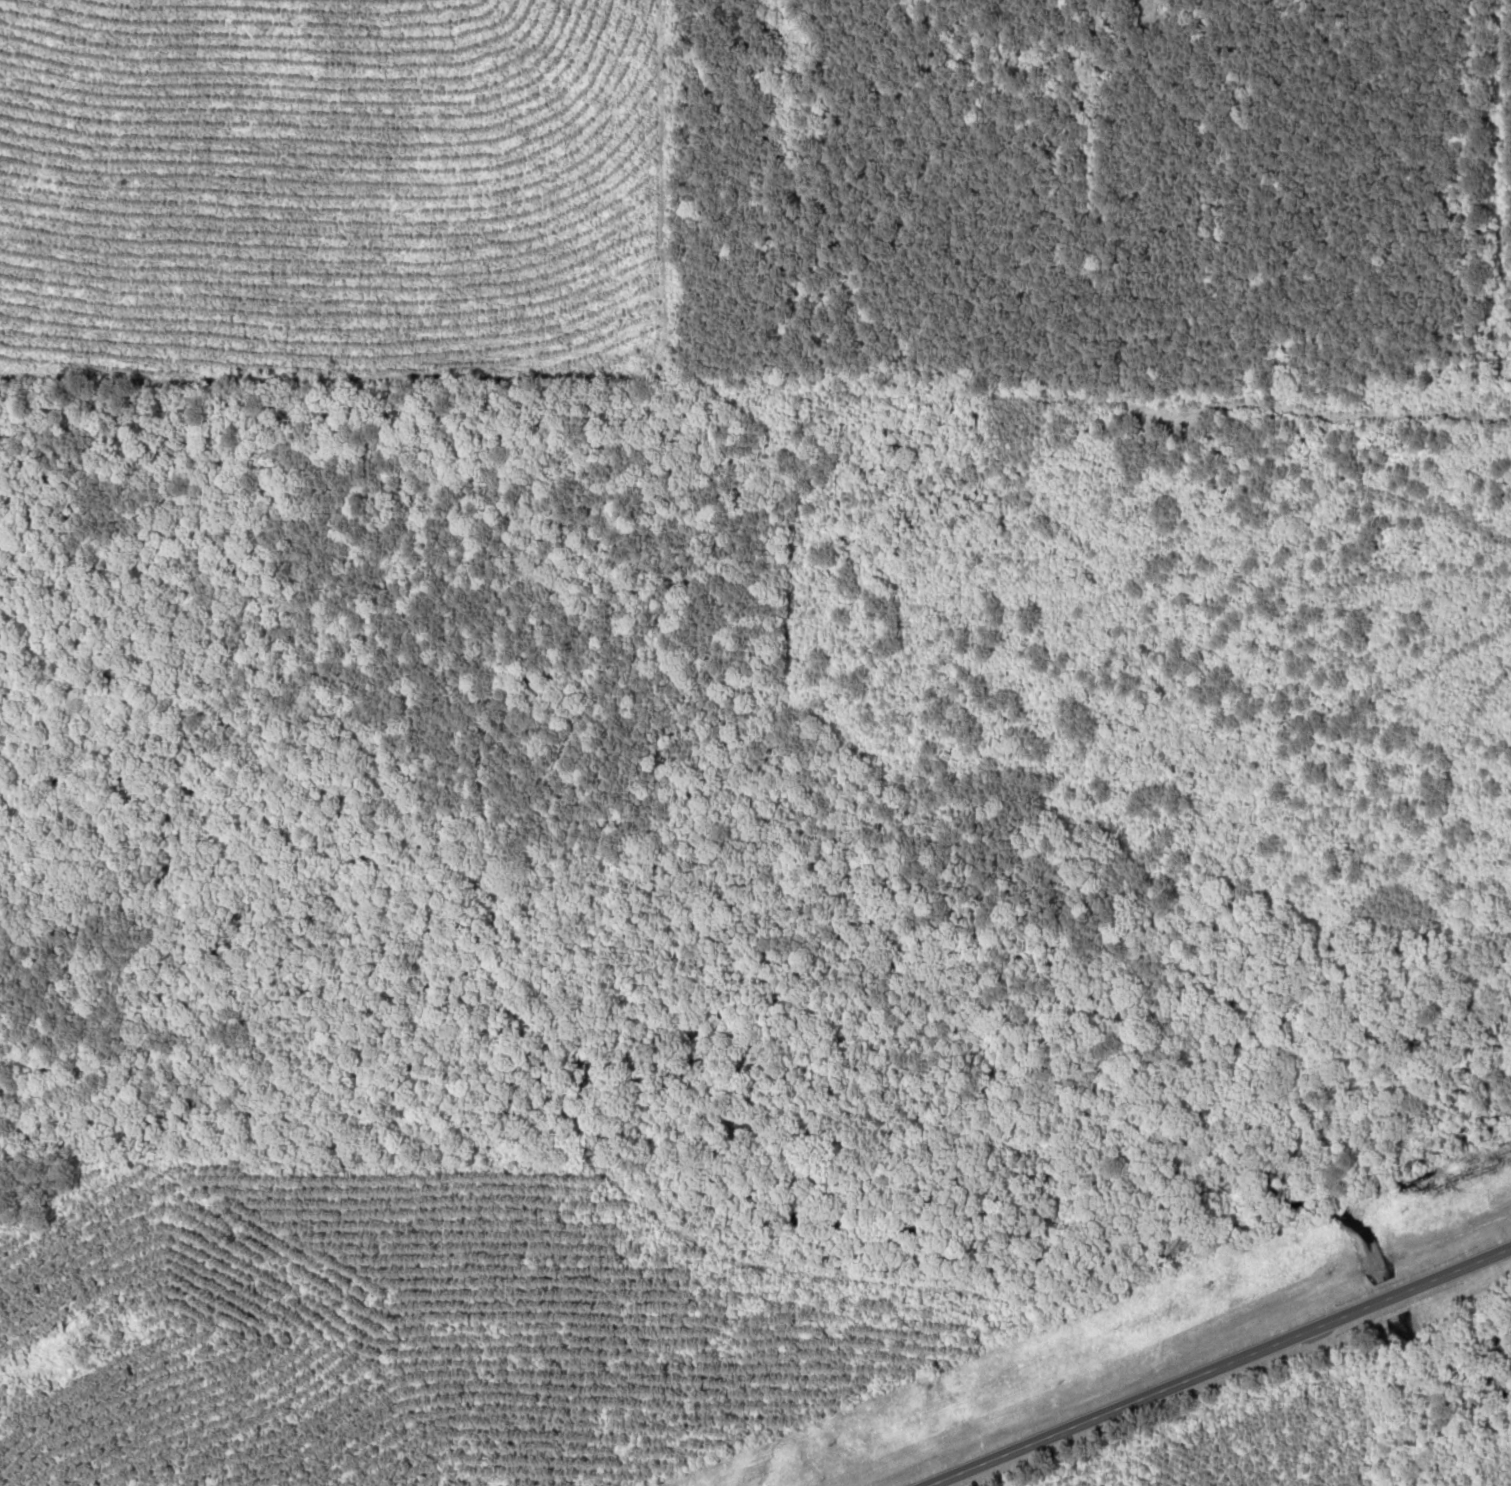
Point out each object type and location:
road: (1219, 1366)

